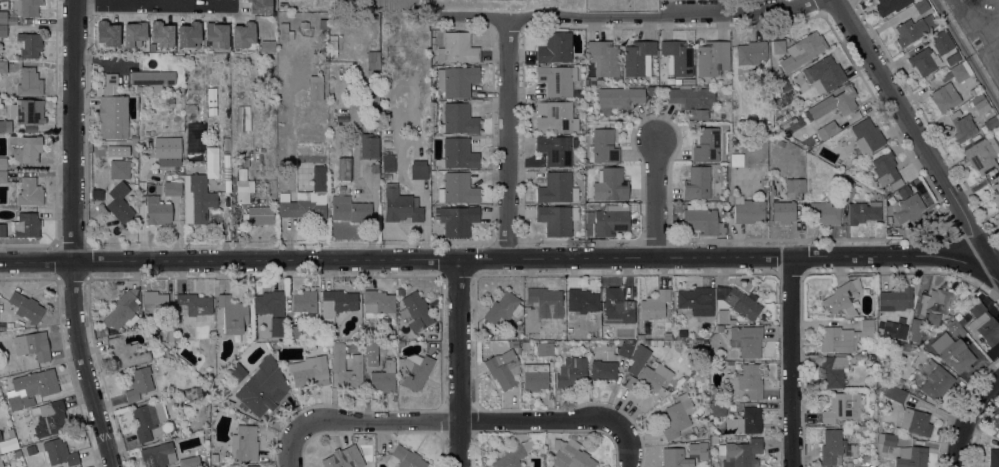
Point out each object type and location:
road: (128, 3)
building: (890, 5)
building: (259, 6)
building: (282, 6)
building: (921, 6)
building: (25, 7)
building: (3, 17)
road: (624, 17)
building: (28, 21)
building: (323, 24)
building: (3, 30)
building: (909, 31)
building: (284, 32)
building: (107, 33)
building: (134, 34)
building: (162, 34)
building: (189, 34)
building: (243, 34)
building: (216, 35)
building: (942, 42)
building: (28, 45)
building: (267, 46)
building: (333, 46)
building: (778, 47)
building: (457, 48)
building: (555, 48)
building: (802, 50)
road: (967, 50)
building: (281, 52)
building: (750, 52)
building: (603, 57)
building: (677, 57)
building: (178, 58)
building: (638, 58)
building: (712, 58)
building: (952, 58)
building: (373, 60)
building: (924, 61)
building: (3, 67)
building: (323, 70)
building: (961, 71)
building: (374, 74)
building: (825, 74)
building: (152, 79)
building: (651, 79)
building: (556, 80)
building: (280, 81)
building: (456, 81)
building: (687, 81)
building: (29, 82)
building: (782, 86)
building: (138, 88)
building: (315, 88)
building: (180, 91)
building: (651, 91)
building: (973, 92)
building: (944, 97)
building: (617, 98)
building: (13, 100)
building: (692, 100)
building: (834, 103)
building: (980, 104)
building: (190, 108)
building: (112, 110)
building: (27, 111)
building: (375, 117)
building: (555, 117)
building: (458, 118)
building: (990, 122)
building: (369, 124)
building: (961, 125)
building: (5, 126)
building: (830, 128)
road: (914, 135)
building: (867, 136)
road: (506, 137)
building: (133, 138)
building: (775, 141)
building: (200, 143)
building: (781, 143)
building: (706, 145)
building: (368, 146)
building: (603, 147)
building: (24, 148)
building: (555, 149)
building: (118, 150)
building: (458, 153)
building: (982, 154)
building: (735, 159)
building: (388, 162)
building: (2, 163)
building: (868, 166)
building: (119, 169)
building: (344, 169)
building: (419, 169)
building: (886, 170)
building: (2, 177)
building: (387, 177)
building: (765, 181)
building: (696, 183)
building: (610, 185)
building: (795, 185)
building: (243, 187)
building: (847, 187)
building: (172, 188)
building: (556, 188)
building: (457, 189)
building: (29, 192)
building: (995, 193)
building: (97, 194)
road: (654, 198)
building: (197, 199)
building: (119, 203)
building: (303, 205)
building: (400, 206)
building: (907, 208)
building: (349, 209)
building: (747, 210)
building: (155, 211)
building: (783, 212)
building: (862, 212)
building: (824, 213)
building: (998, 213)
building: (258, 215)
building: (556, 219)
building: (608, 219)
building: (700, 219)
building: (457, 220)
building: (25, 225)
building: (2, 230)
road: (72, 236)
road: (502, 258)
building: (856, 284)
building: (840, 299)
building: (896, 299)
building: (696, 300)
building: (580, 302)
building: (154, 303)
building: (269, 303)
building: (543, 303)
building: (619, 303)
building: (742, 303)
building: (193, 304)
building: (305, 304)
building: (336, 304)
building: (377, 304)
building: (654, 304)
building: (933, 305)
building: (26, 307)
building: (502, 308)
building: (122, 311)
building: (416, 311)
building: (977, 311)
building: (232, 314)
building: (722, 316)
building: (2, 325)
building: (276, 326)
building: (719, 328)
building: (953, 328)
building: (895, 329)
building: (915, 330)
building: (989, 331)
building: (292, 332)
building: (167, 334)
building: (667, 335)
building: (640, 336)
building: (844, 337)
building: (746, 340)
building: (646, 342)
building: (653, 342)
building: (659, 342)
building: (666, 342)
building: (400, 344)
building: (514, 345)
building: (901, 346)
building: (525, 347)
building: (32, 348)
building: (626, 348)
building: (371, 349)
building: (544, 349)
building: (952, 352)
building: (125, 353)
building: (638, 359)
road: (790, 362)
road: (460, 363)
building: (729, 363)
building: (337, 364)
building: (503, 369)
building: (414, 370)
building: (603, 370)
building: (833, 370)
building: (571, 372)
building: (310, 373)
building: (534, 376)
building: (383, 377)
building: (648, 378)
building: (750, 380)
building: (935, 380)
building: (896, 382)
building: (138, 384)
building: (881, 386)
building: (259, 387)
building: (30, 388)
building: (894, 393)
building: (715, 398)
building: (228, 403)
building: (841, 407)
building: (718, 410)
building: (677, 416)
road: (966, 416)
building: (49, 418)
building: (243, 418)
building: (147, 419)
building: (745, 421)
building: (915, 422)
road: (461, 424)
building: (998, 427)
building: (701, 429)
building: (695, 430)
building: (10, 433)
building: (0, 439)
building: (885, 441)
building: (244, 443)
road: (628, 444)
building: (830, 446)
road: (296, 447)
building: (30, 449)
building: (59, 452)
building: (741, 453)
building: (158, 455)
building: (513, 455)
building: (569, 455)
building: (911, 457)
building: (346, 458)
building: (404, 458)
building: (675, 458)
building: (865, 458)
building: (993, 458)
building: (194, 461)
building: (0, 464)
building: (842, 464)
building: (250, 466)

